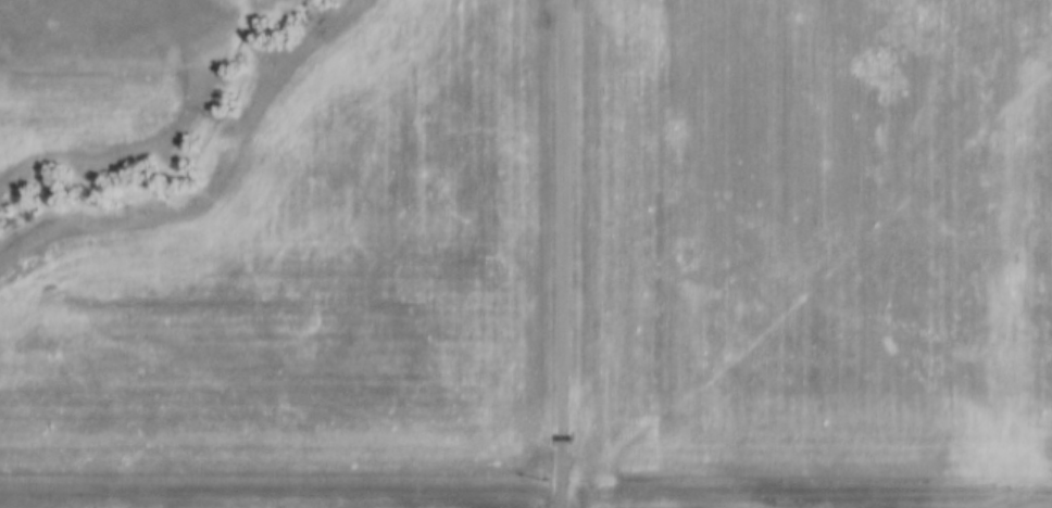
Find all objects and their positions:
road: (562, 254)

